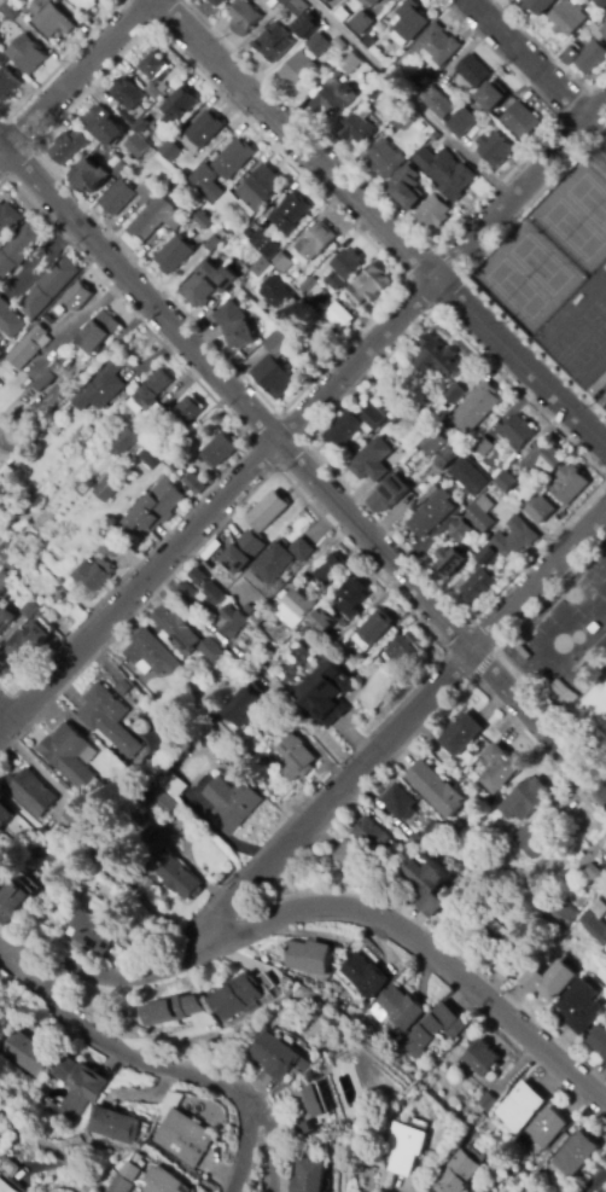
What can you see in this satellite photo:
building: (8, 0)
building: (285, 1)
building: (327, 1)
building: (1, 2)
building: (217, 2)
building: (373, 2)
building: (602, 2)
building: (86, 5)
building: (540, 5)
building: (593, 5)
building: (297, 7)
building: (10, 12)
building: (244, 17)
building: (567, 18)
building: (53, 21)
building: (410, 21)
building: (361, 23)
building: (305, 28)
building: (600, 29)
building: (270, 39)
building: (368, 41)
building: (340, 43)
building: (319, 45)
building: (431, 47)
building: (27, 54)
road: (550, 54)
building: (587, 57)
road: (526, 58)
building: (2, 60)
building: (350, 64)
building: (155, 65)
building: (297, 70)
building: (473, 71)
road: (77, 74)
building: (7, 85)
building: (456, 85)
building: (163, 88)
building: (153, 92)
building: (374, 92)
building: (333, 97)
building: (490, 97)
building: (129, 99)
road: (409, 99)
building: (438, 105)
building: (177, 107)
building: (103, 121)
building: (519, 121)
building: (402, 122)
building: (462, 123)
building: (141, 126)
building: (205, 129)
building: (356, 129)
building: (158, 134)
road: (2, 145)
building: (68, 146)
building: (138, 146)
building: (495, 149)
road: (2, 151)
building: (170, 151)
building: (381, 158)
building: (233, 159)
building: (130, 161)
building: (599, 161)
building: (120, 167)
building: (445, 173)
building: (92, 175)
building: (198, 175)
building: (205, 186)
building: (406, 186)
building: (258, 187)
building: (147, 191)
building: (117, 198)
building: (226, 204)
building: (292, 213)
building: (433, 213)
building: (8, 217)
building: (155, 219)
building: (203, 221)
road: (379, 223)
building: (241, 229)
building: (191, 234)
building: (316, 242)
building: (212, 243)
building: (264, 245)
park: (550, 245)
road: (433, 248)
building: (18, 250)
building: (175, 255)
building: (282, 262)
road: (449, 262)
building: (261, 267)
building: (344, 269)
road: (442, 272)
road: (464, 273)
building: (372, 283)
building: (204, 284)
building: (308, 287)
building: (48, 289)
building: (355, 295)
road: (141, 296)
building: (77, 297)
building: (322, 298)
building: (282, 302)
building: (343, 315)
building: (47, 316)
building: (8, 320)
building: (235, 325)
building: (98, 333)
building: (279, 344)
building: (29, 347)
building: (1, 353)
building: (438, 359)
building: (63, 360)
building: (56, 366)
building: (273, 377)
building: (47, 379)
parking lot: (600, 379)
building: (37, 386)
building: (101, 386)
building: (153, 389)
building: (455, 394)
building: (395, 396)
building: (124, 408)
building: (477, 408)
building: (187, 411)
building: (374, 417)
building: (447, 425)
building: (56, 429)
building: (344, 429)
building: (82, 431)
building: (518, 432)
building: (127, 438)
building: (177, 441)
building: (433, 443)
road: (307, 447)
building: (483, 447)
building: (218, 450)
building: (450, 457)
building: (147, 459)
building: (544, 459)
building: (372, 460)
building: (493, 475)
building: (94, 476)
building: (470, 477)
building: (162, 478)
road: (605, 478)
building: (508, 481)
building: (89, 482)
building: (571, 485)
building: (197, 487)
building: (107, 489)
building: (392, 490)
building: (517, 496)
building: (156, 508)
building: (268, 510)
building: (541, 510)
building: (432, 512)
building: (480, 514)
building: (34, 517)
building: (14, 522)
building: (0, 528)
building: (462, 530)
building: (514, 539)
building: (111, 547)
building: (241, 551)
building: (488, 556)
building: (279, 559)
building: (451, 564)
building: (330, 569)
building: (94, 574)
building: (199, 577)
building: (4, 578)
road: (144, 581)
building: (478, 586)
building: (187, 589)
building: (214, 593)
building: (59, 597)
building: (350, 598)
building: (296, 605)
building: (205, 607)
building: (249, 607)
building: (29, 610)
building: (5, 618)
building: (258, 620)
road: (441, 621)
building: (233, 622)
building: (322, 622)
building: (375, 627)
building: (177, 629)
building: (308, 634)
building: (17, 649)
building: (210, 650)
building: (403, 650)
road: (500, 650)
building: (152, 653)
building: (327, 653)
road: (483, 663)
building: (559, 691)
building: (327, 693)
park: (595, 697)
building: (245, 708)
road: (5, 713)
building: (275, 719)
building: (109, 720)
road: (5, 723)
road: (398, 725)
road: (314, 727)
building: (460, 734)
building: (256, 739)
road: (537, 751)
building: (295, 752)
building: (68, 755)
building: (497, 768)
building: (173, 783)
building: (435, 789)
building: (30, 792)
building: (523, 799)
building: (163, 801)
building: (398, 802)
building: (231, 803)
building: (76, 813)
building: (5, 815)
building: (144, 827)
building: (432, 830)
building: (372, 836)
building: (523, 836)
building: (416, 843)
building: (534, 848)
building: (407, 850)
building: (93, 853)
building: (349, 855)
building: (596, 873)
building: (177, 877)
building: (429, 885)
building: (577, 900)
building: (12, 901)
road: (330, 907)
building: (97, 911)
building: (555, 911)
building: (596, 921)
building: (91, 931)
building: (502, 947)
building: (262, 955)
building: (310, 958)
building: (366, 976)
building: (549, 981)
building: (237, 996)
building: (400, 1006)
building: (581, 1006)
building: (359, 1007)
building: (171, 1010)
building: (210, 1028)
building: (433, 1029)
building: (598, 1041)
road: (106, 1045)
building: (24, 1054)
building: (278, 1057)
building: (482, 1058)
building: (75, 1087)
building: (486, 1101)
building: (520, 1106)
building: (307, 1110)
building: (115, 1126)
building: (155, 1128)
building: (547, 1128)
road: (269, 1135)
building: (182, 1138)
road: (245, 1141)
building: (403, 1147)
building: (575, 1155)
road: (66, 1165)
building: (6, 1167)
building: (548, 1170)
building: (456, 1173)
building: (307, 1176)
road: (594, 1179)
building: (164, 1181)
building: (122, 1185)
building: (6, 1186)
building: (566, 1186)
building: (506, 1191)

